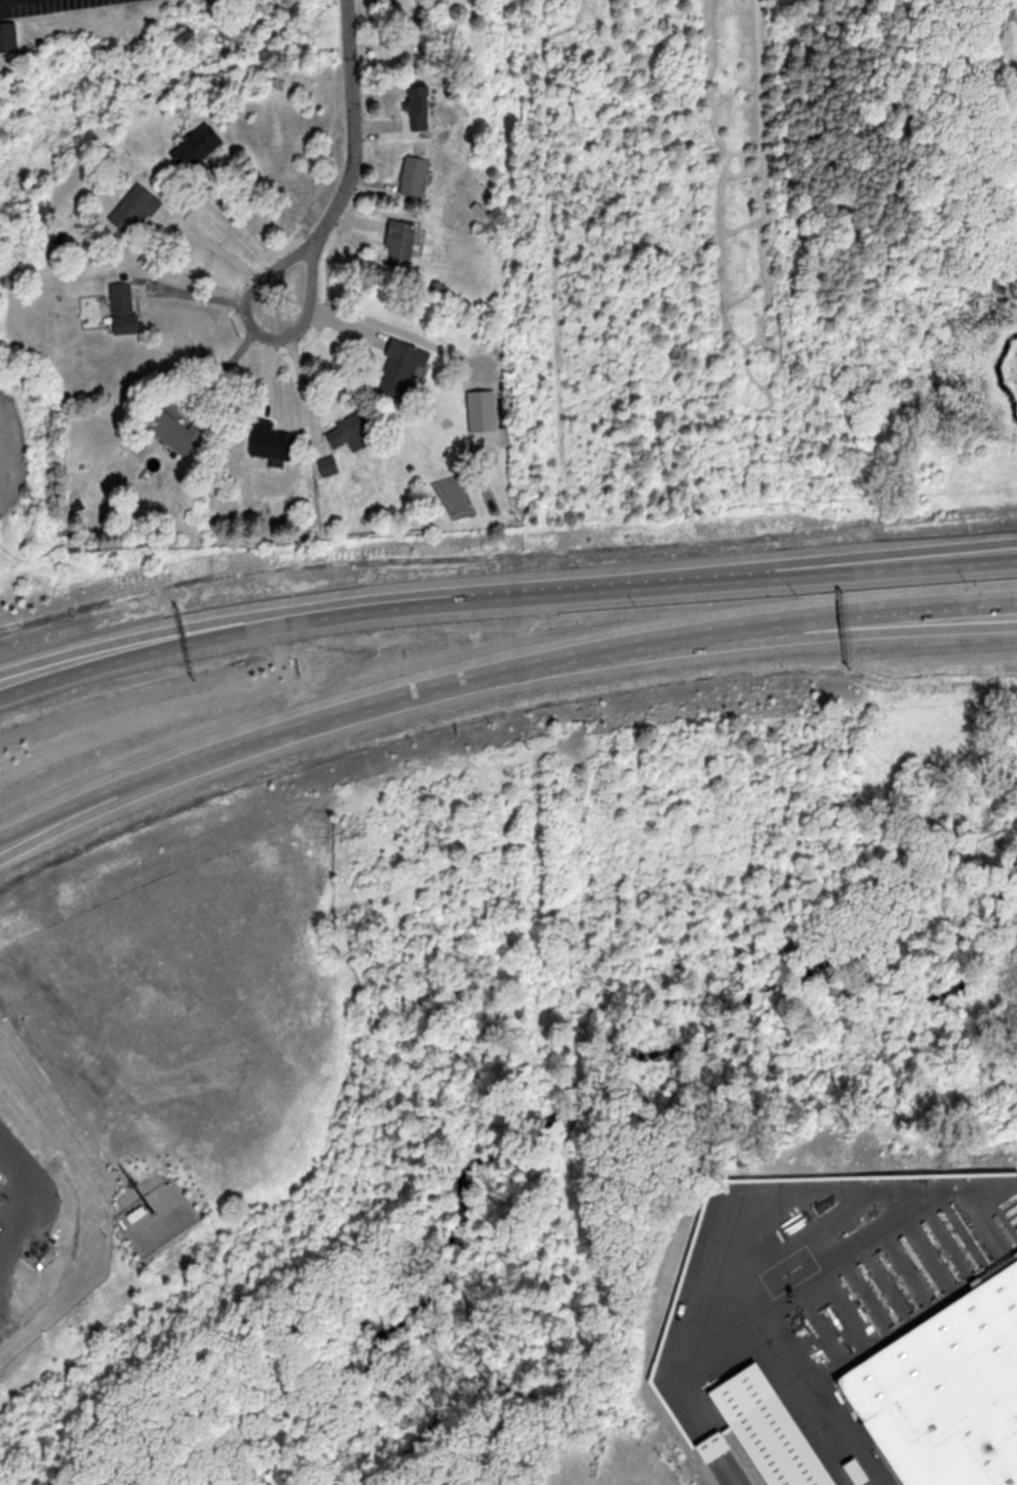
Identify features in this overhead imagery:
building: (6, 35)
building: (422, 109)
building: (201, 146)
road: (346, 157)
building: (418, 175)
building: (137, 208)
building: (403, 242)
building: (126, 309)
building: (404, 367)
road: (302, 376)
building: (353, 432)
building: (330, 465)
road: (925, 562)
road: (503, 597)
road: (882, 618)
road: (882, 630)
road: (33, 677)
road: (365, 702)
road: (71, 816)
building: (3, 957)
building: (3, 1179)
building: (949, 1391)
building: (779, 1446)
road: (725, 1476)

